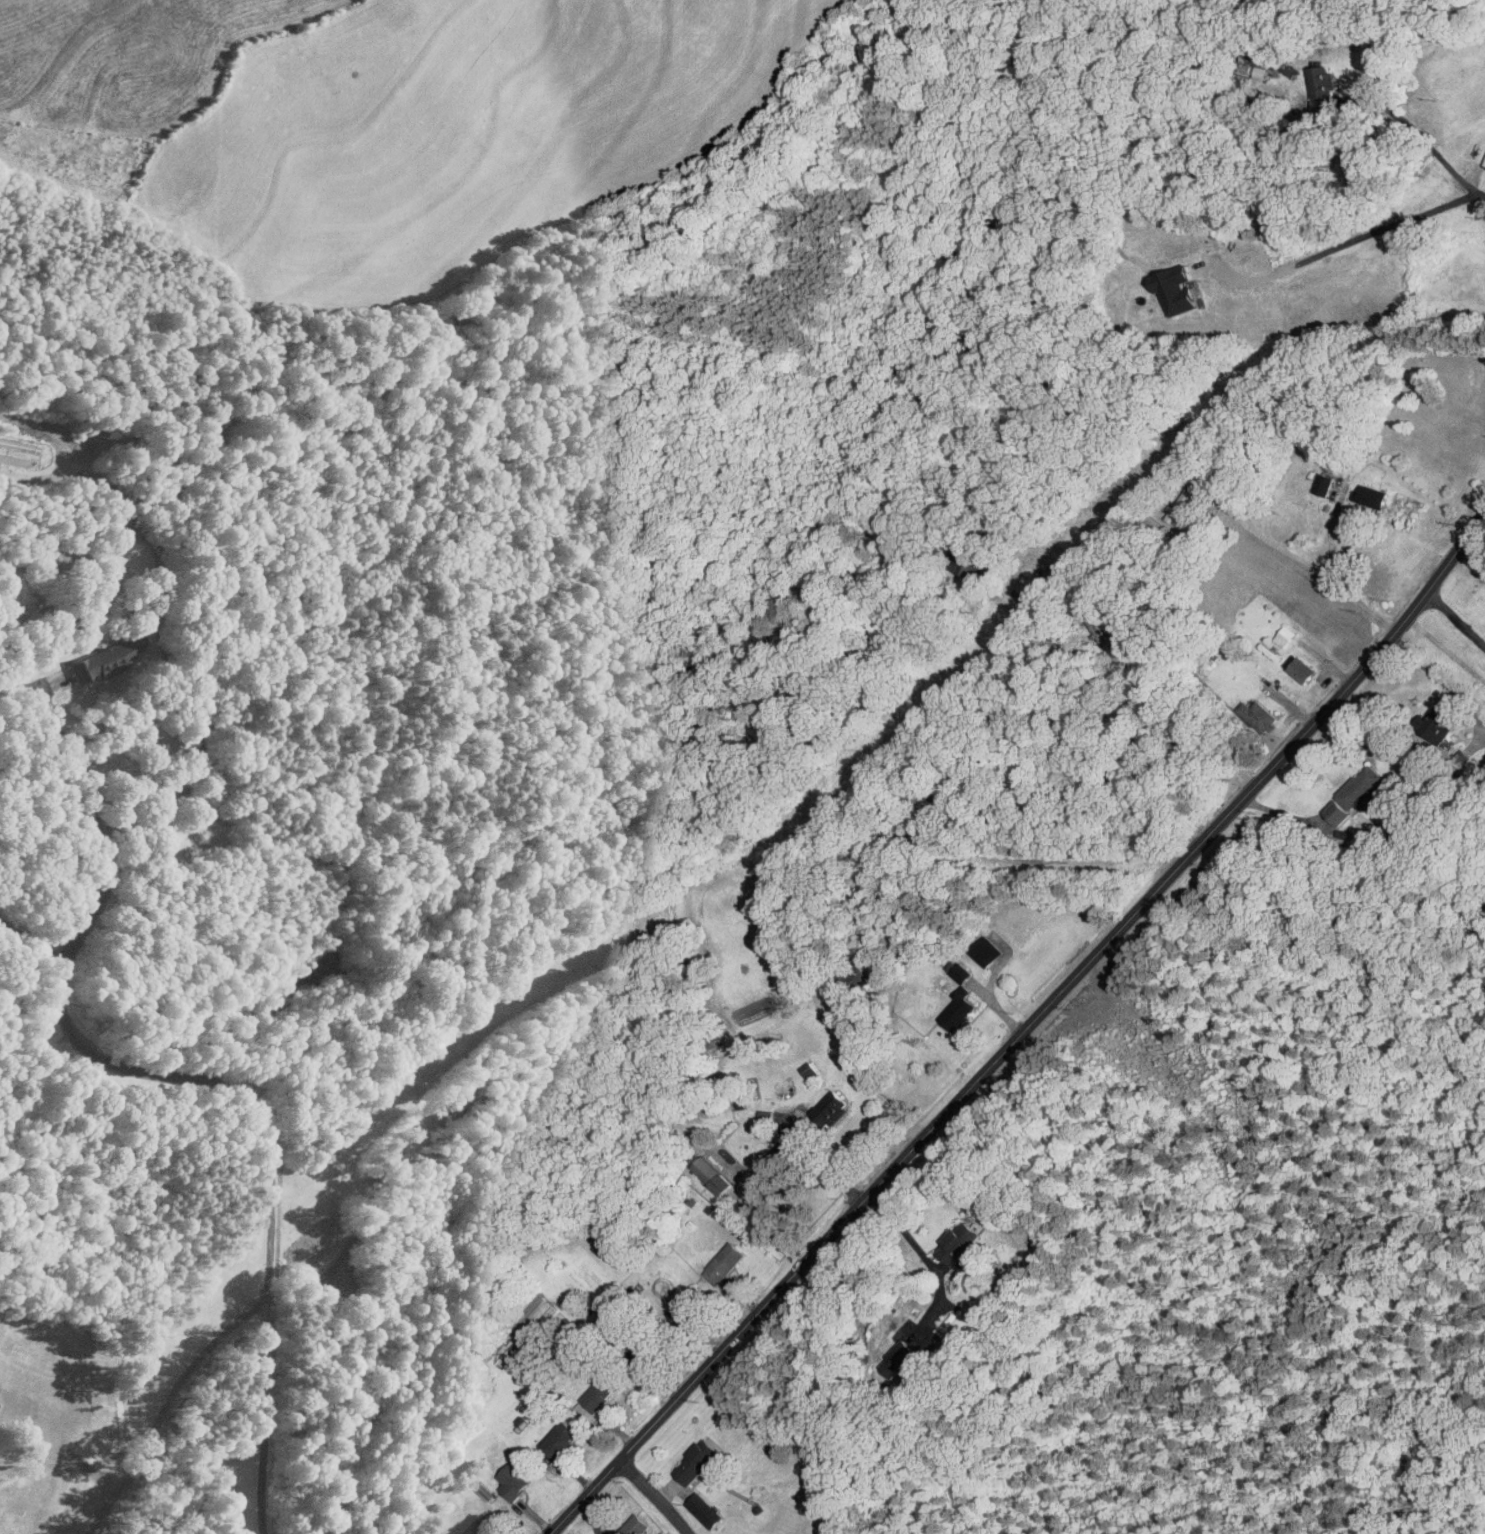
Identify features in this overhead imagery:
building: (1259, 60)
building: (1322, 80)
road: (1413, 130)
road: (1479, 194)
road: (1341, 241)
building: (1177, 287)
building: (1324, 483)
building: (1181, 505)
building: (965, 561)
road: (1320, 572)
road: (1456, 617)
building: (1284, 635)
road: (155, 640)
building: (102, 659)
road: (1133, 667)
building: (1300, 667)
road: (1435, 674)
building: (1258, 713)
building: (1437, 723)
building: (1357, 792)
road: (94, 808)
building: (987, 951)
building: (961, 972)
building: (957, 1011)
road: (1022, 1028)
building: (809, 1070)
building: (830, 1109)
road: (265, 1145)
road: (761, 1160)
building: (705, 1169)
building: (720, 1184)
road: (905, 1234)
building: (959, 1245)
building: (724, 1263)
building: (904, 1363)
building: (600, 1392)
building: (559, 1439)
building: (696, 1462)
building: (514, 1481)
road: (653, 1496)
building: (706, 1510)
building: (474, 1525)

